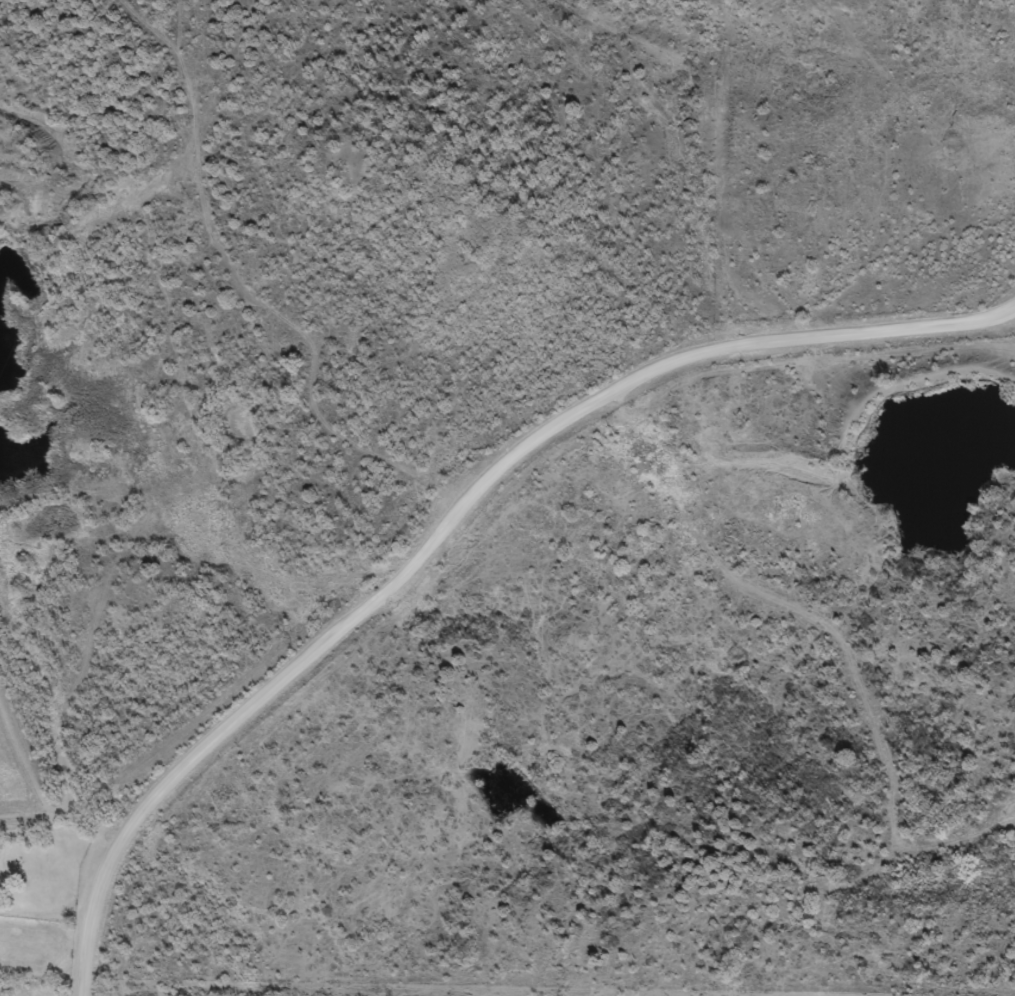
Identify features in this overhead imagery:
road: (450, 521)

